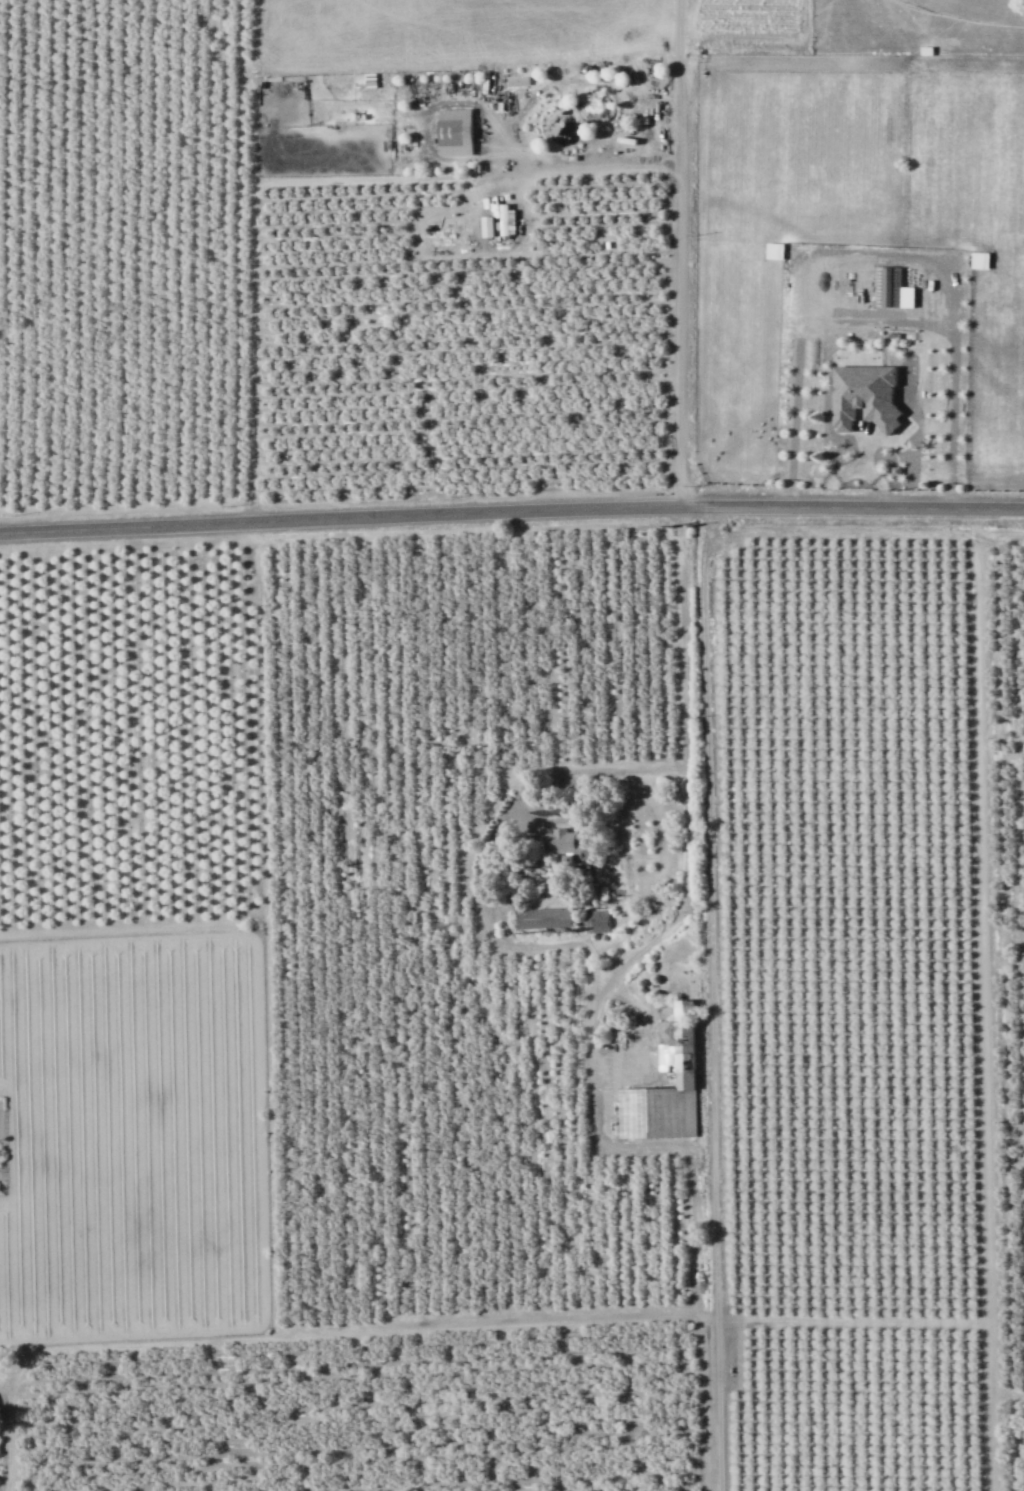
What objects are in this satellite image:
crop: (749, 26)
building: (363, 80)
building: (453, 132)
road: (603, 167)
building: (484, 202)
building: (493, 207)
road: (253, 216)
building: (469, 218)
building: (502, 219)
crop: (854, 224)
building: (485, 227)
road: (678, 252)
building: (886, 286)
building: (863, 396)
road: (511, 511)
road: (607, 770)
road: (982, 798)
road: (684, 818)
building: (565, 846)
building: (542, 918)
building: (596, 920)
road: (265, 992)
road: (711, 997)
building: (674, 1046)
road: (853, 1320)
road: (299, 1335)
road: (1008, 1396)
road: (992, 1407)

